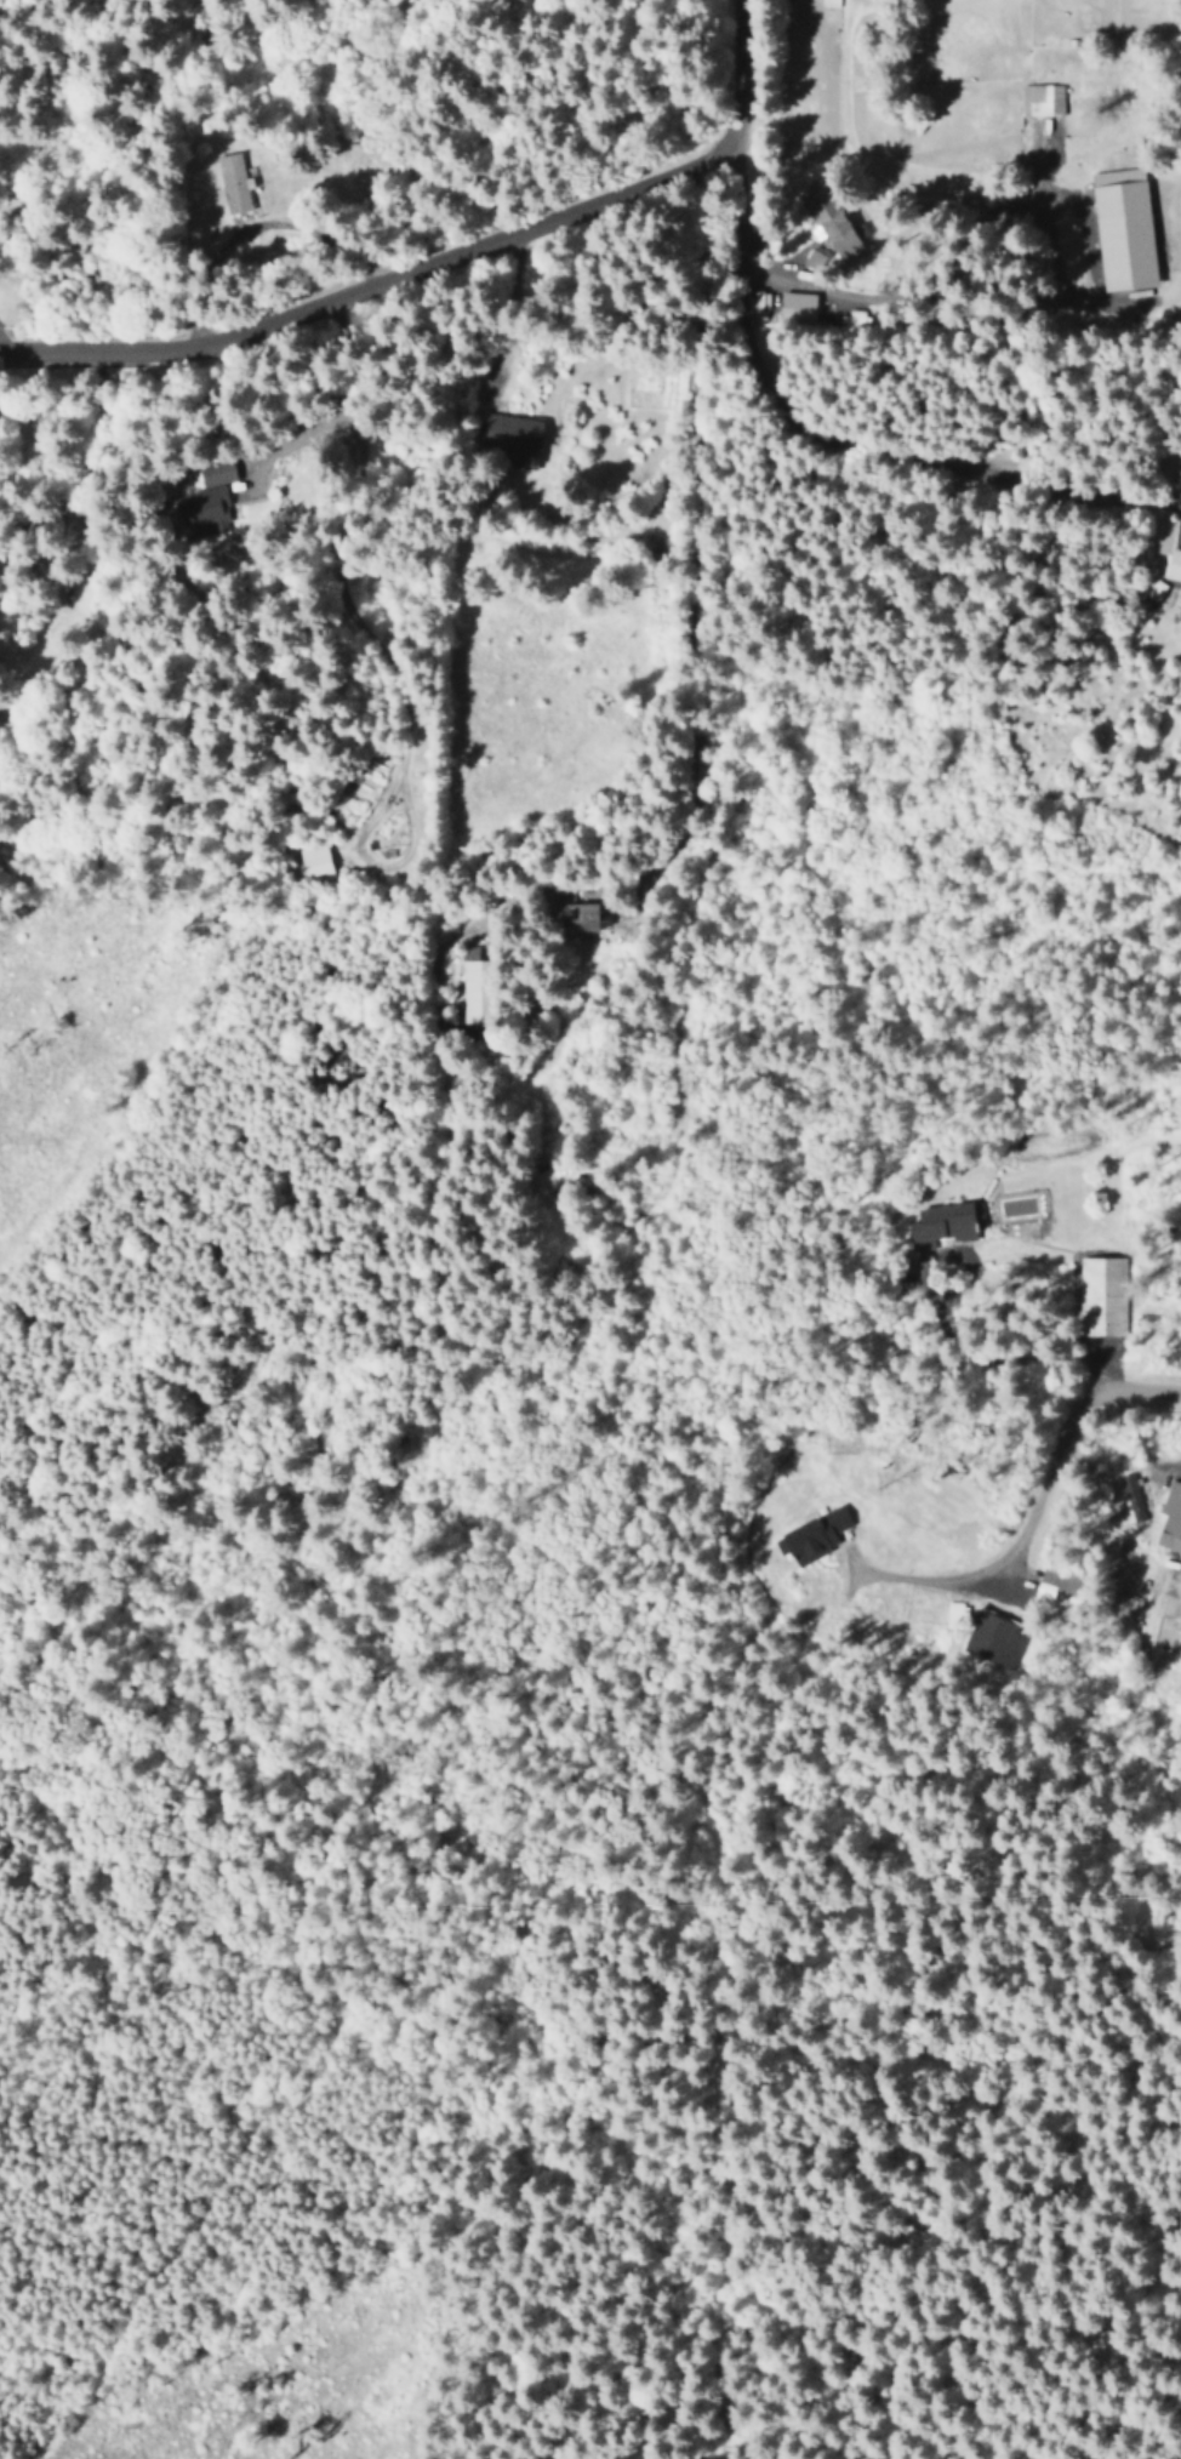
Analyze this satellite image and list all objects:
building: (1042, 99)
building: (232, 183)
building: (831, 222)
building: (1124, 229)
building: (814, 258)
road: (452, 262)
building: (759, 307)
building: (797, 307)
building: (513, 435)
building: (216, 473)
building: (202, 512)
building: (1174, 564)
road: (686, 771)
building: (314, 861)
building: (474, 987)
building: (942, 1225)
building: (1102, 1295)
road: (945, 1303)
building: (1129, 1495)
building: (1171, 1508)
road: (1025, 1522)
building: (812, 1535)
road: (455, 1554)
building: (953, 1611)
building: (1180, 1630)
building: (993, 1639)
road: (278, 1641)

